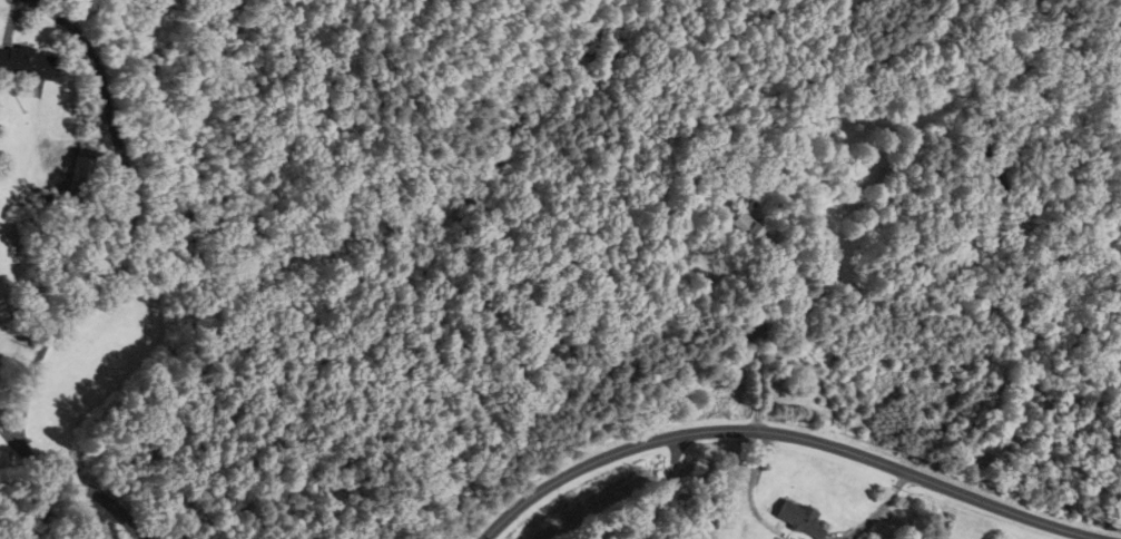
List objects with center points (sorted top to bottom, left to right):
road: (17, 21)
building: (24, 61)
building: (76, 185)
road: (132, 223)
building: (745, 231)
road: (6, 431)
road: (784, 435)
road: (81, 487)
building: (795, 519)

